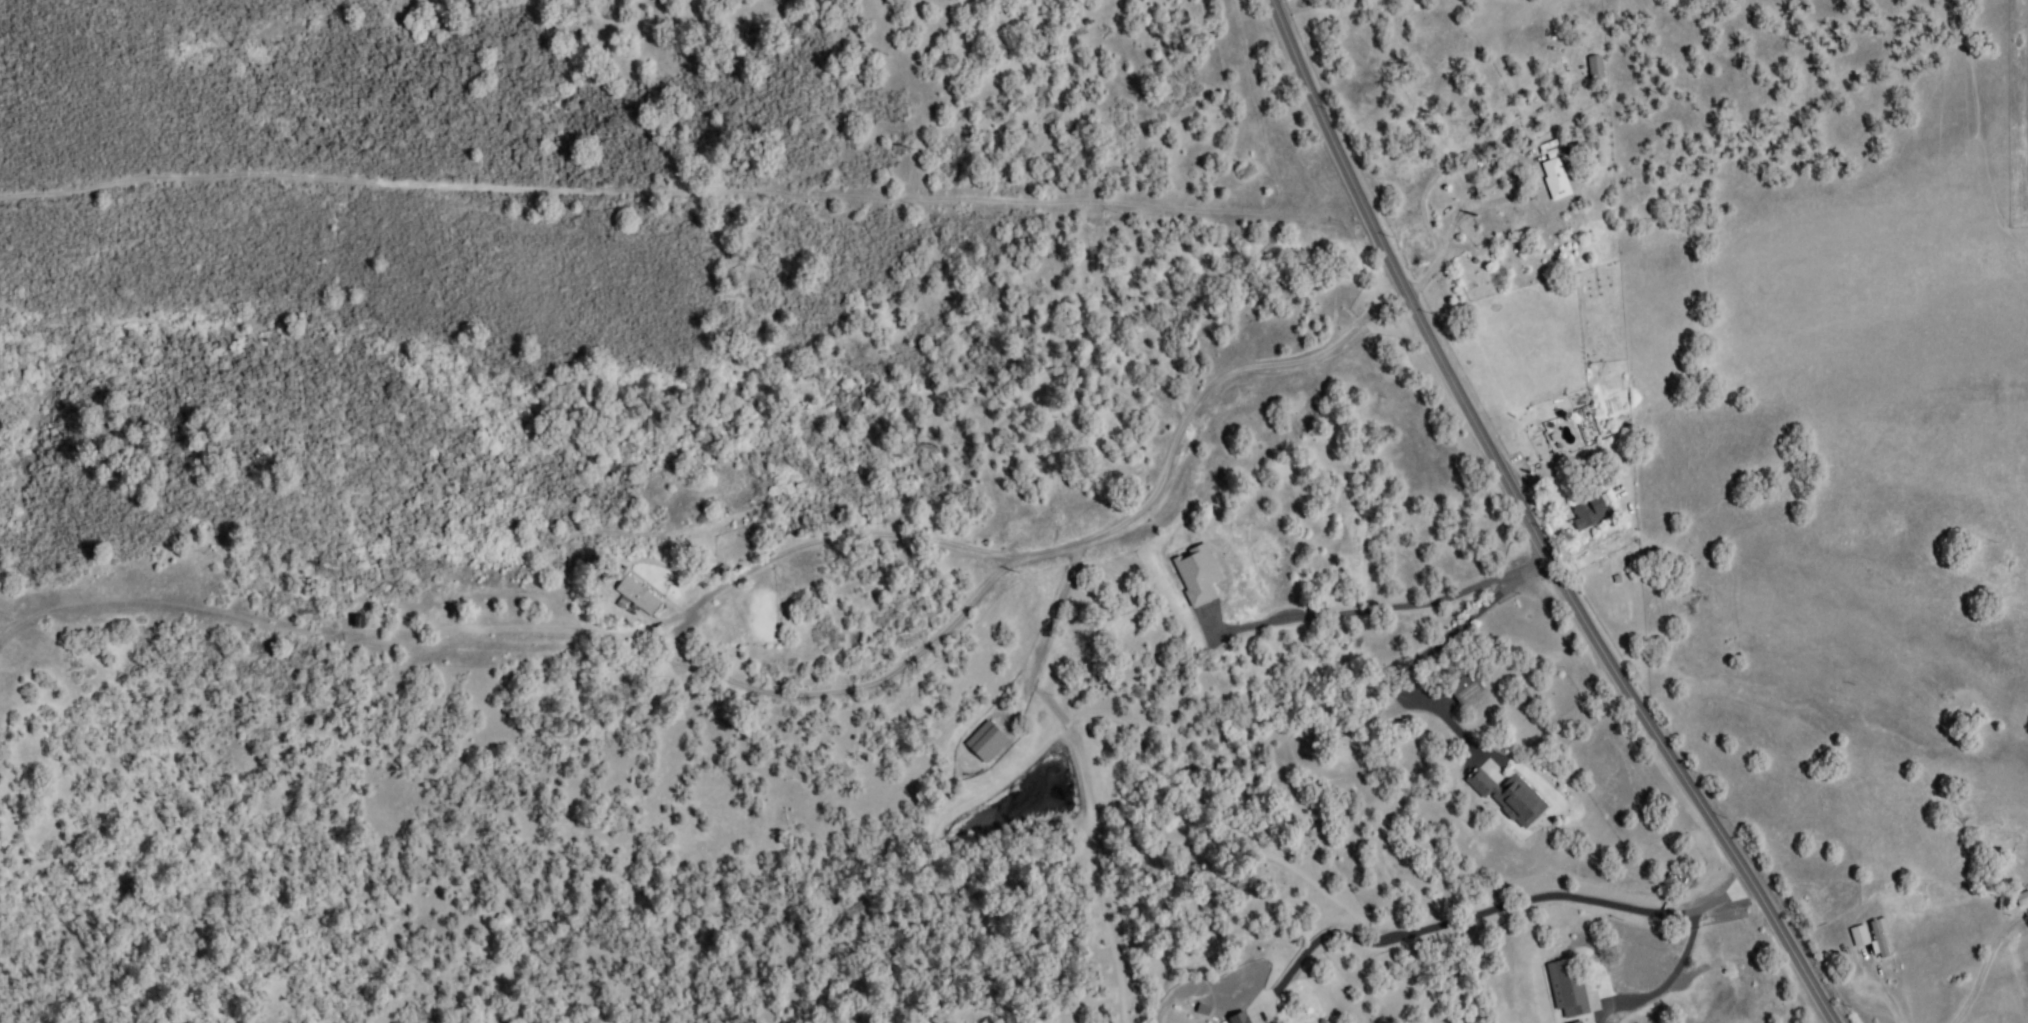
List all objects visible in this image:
building: (1597, 68)
road: (918, 92)
building: (1579, 148)
road: (1470, 154)
building: (1556, 179)
road: (1301, 185)
road: (727, 191)
road: (1449, 234)
road: (1396, 297)
building: (1590, 513)
road: (1530, 523)
road: (1068, 546)
building: (1198, 575)
building: (640, 597)
road: (1386, 606)
road: (539, 628)
road: (1429, 652)
road: (1036, 678)
building: (1466, 689)
road: (852, 690)
building: (987, 742)
building: (1511, 798)
building: (2023, 899)
road: (1470, 914)
building: (1860, 937)
building: (1880, 939)
road: (1684, 953)
road: (1979, 959)
building: (1571, 987)
road: (1883, 994)
building: (1240, 1019)
building: (1578, 1022)

